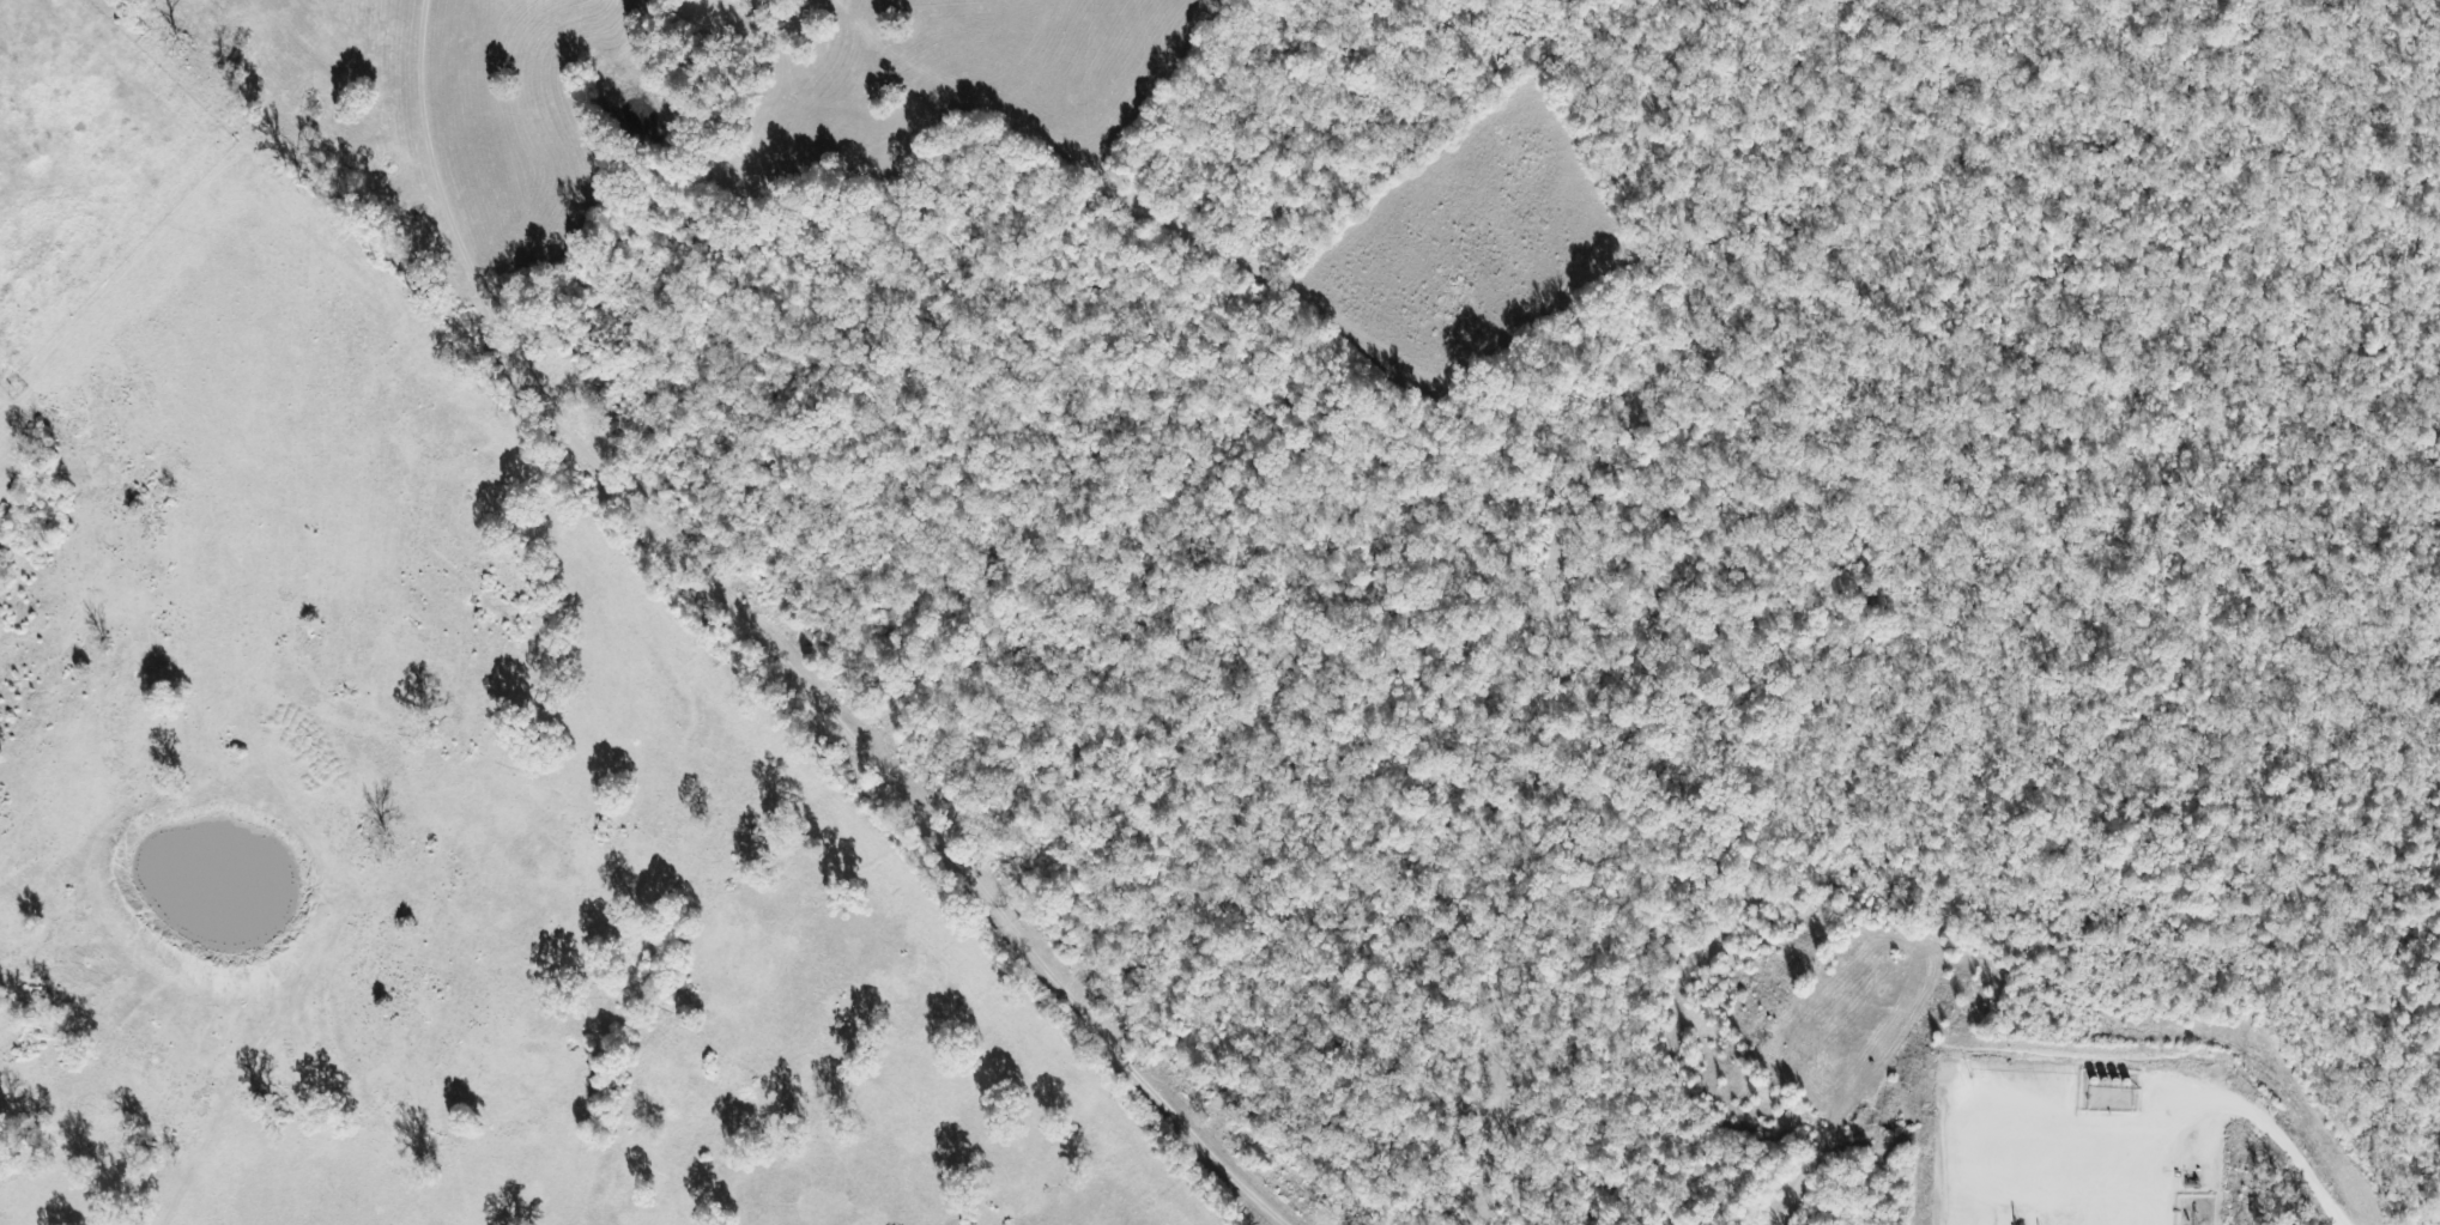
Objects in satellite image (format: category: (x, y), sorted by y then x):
road: (2294, 1153)

